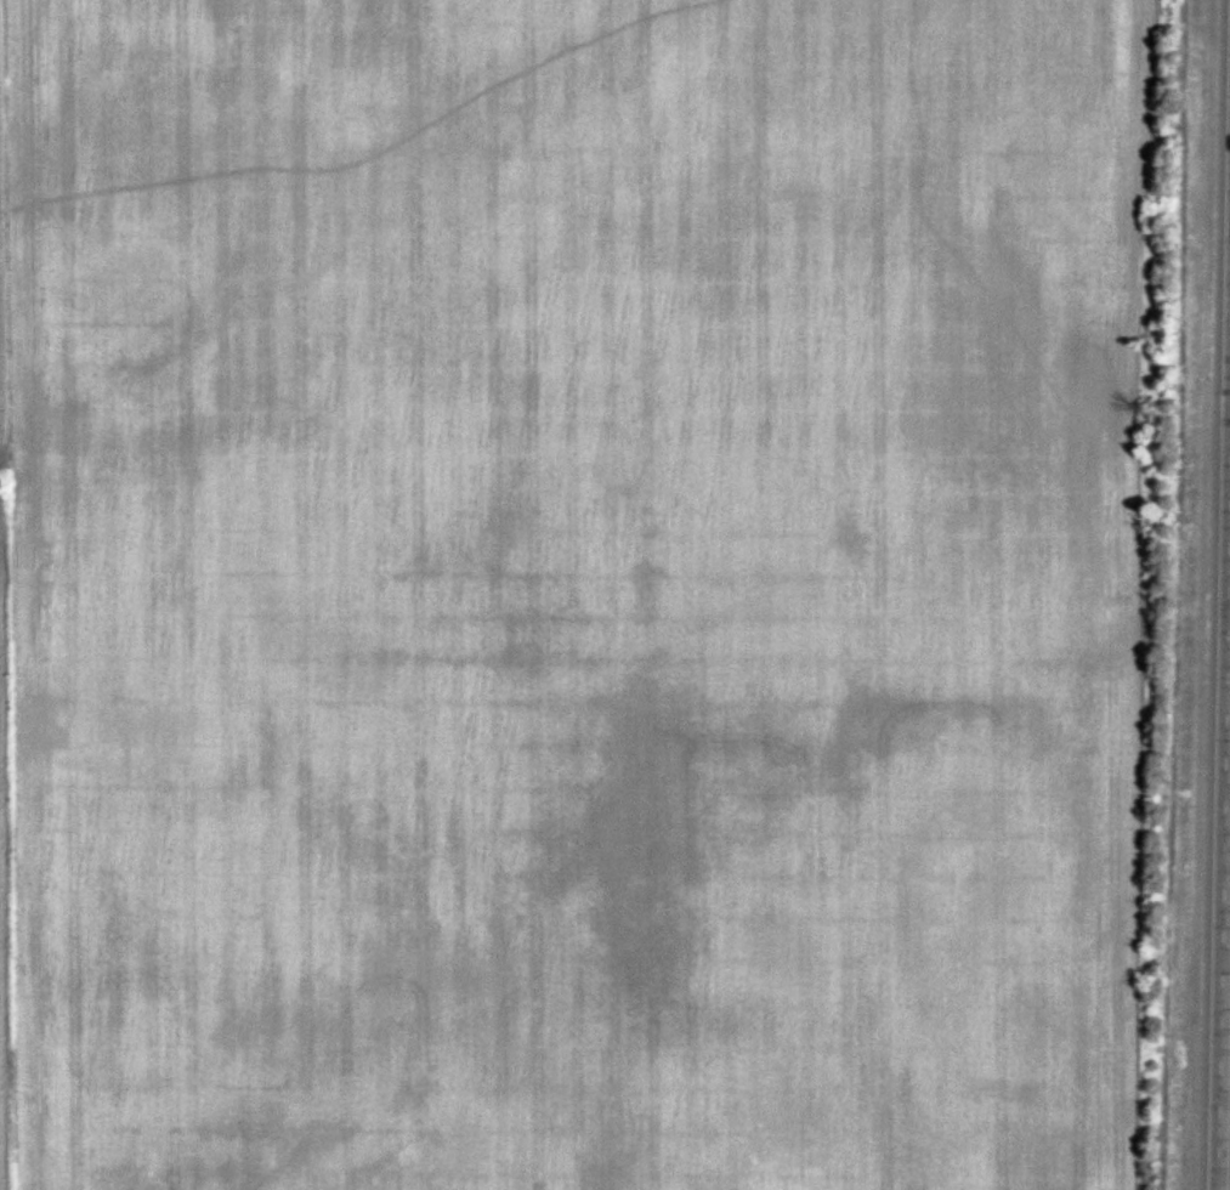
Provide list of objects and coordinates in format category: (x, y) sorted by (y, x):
road: (1222, 749)

